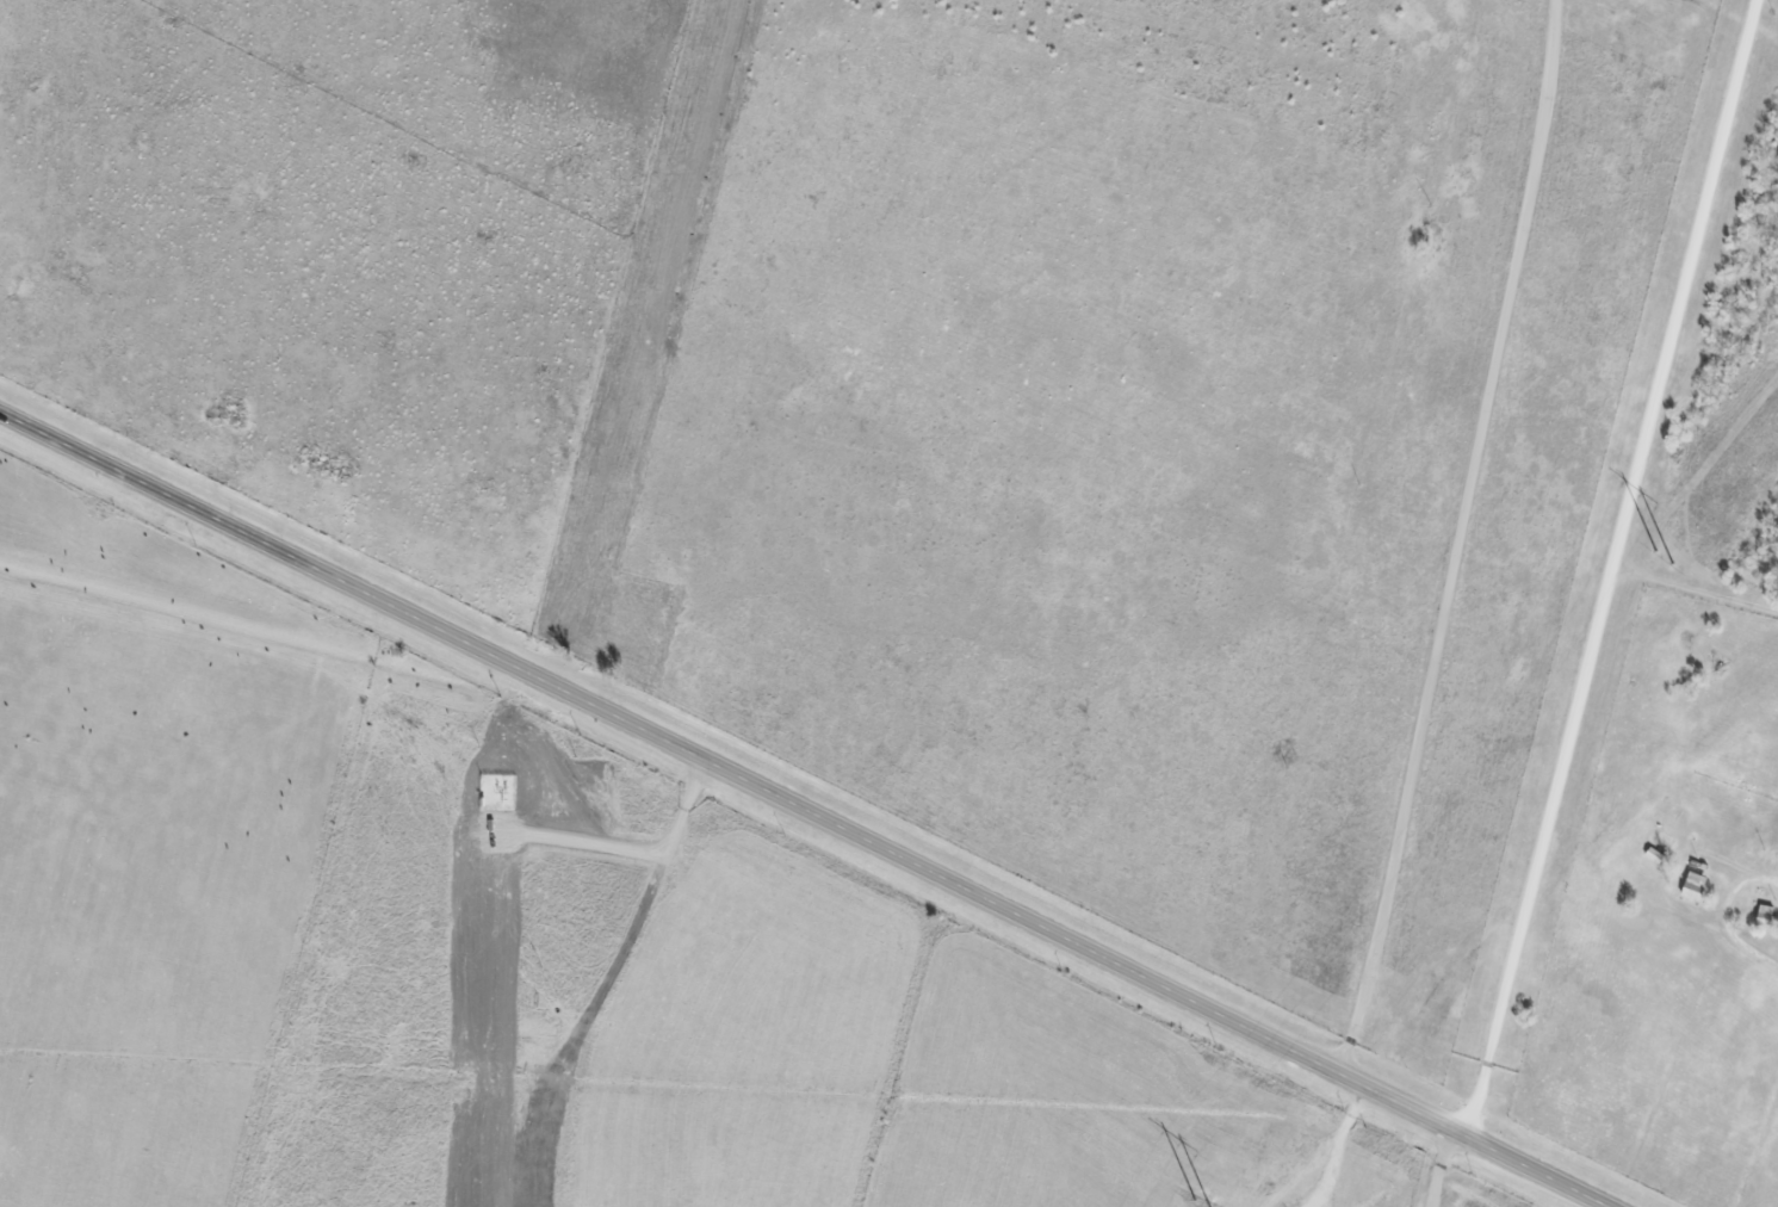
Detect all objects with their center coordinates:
road: (1457, 537)
power tower: (1678, 550)
road: (806, 807)
building: (1681, 817)
building: (1669, 843)
building: (1662, 860)
building: (1700, 883)
road: (1445, 1168)
power tower: (1214, 1200)

